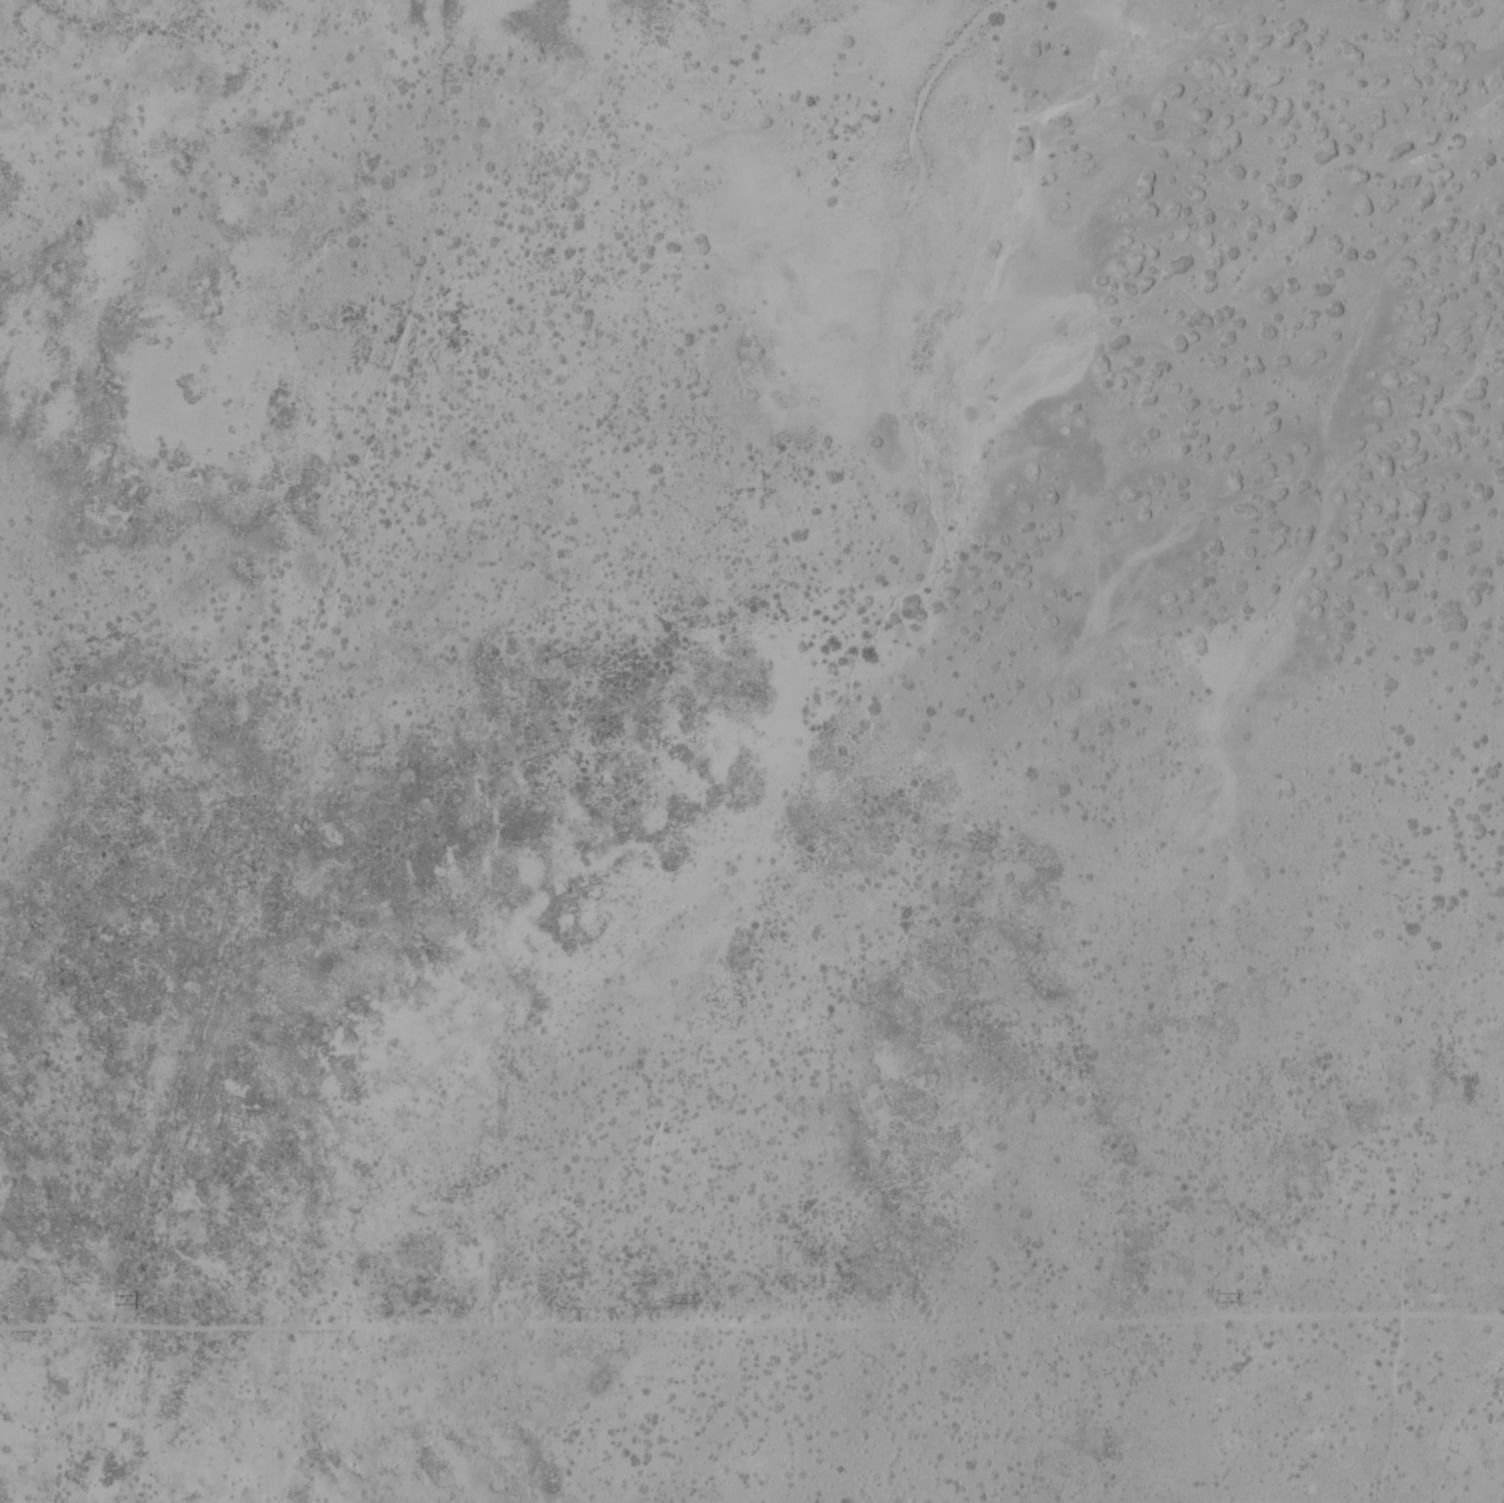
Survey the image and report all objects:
power tower: (654, 1298)
power tower: (1200, 1298)
power tower: (100, 1299)
road: (752, 1321)

